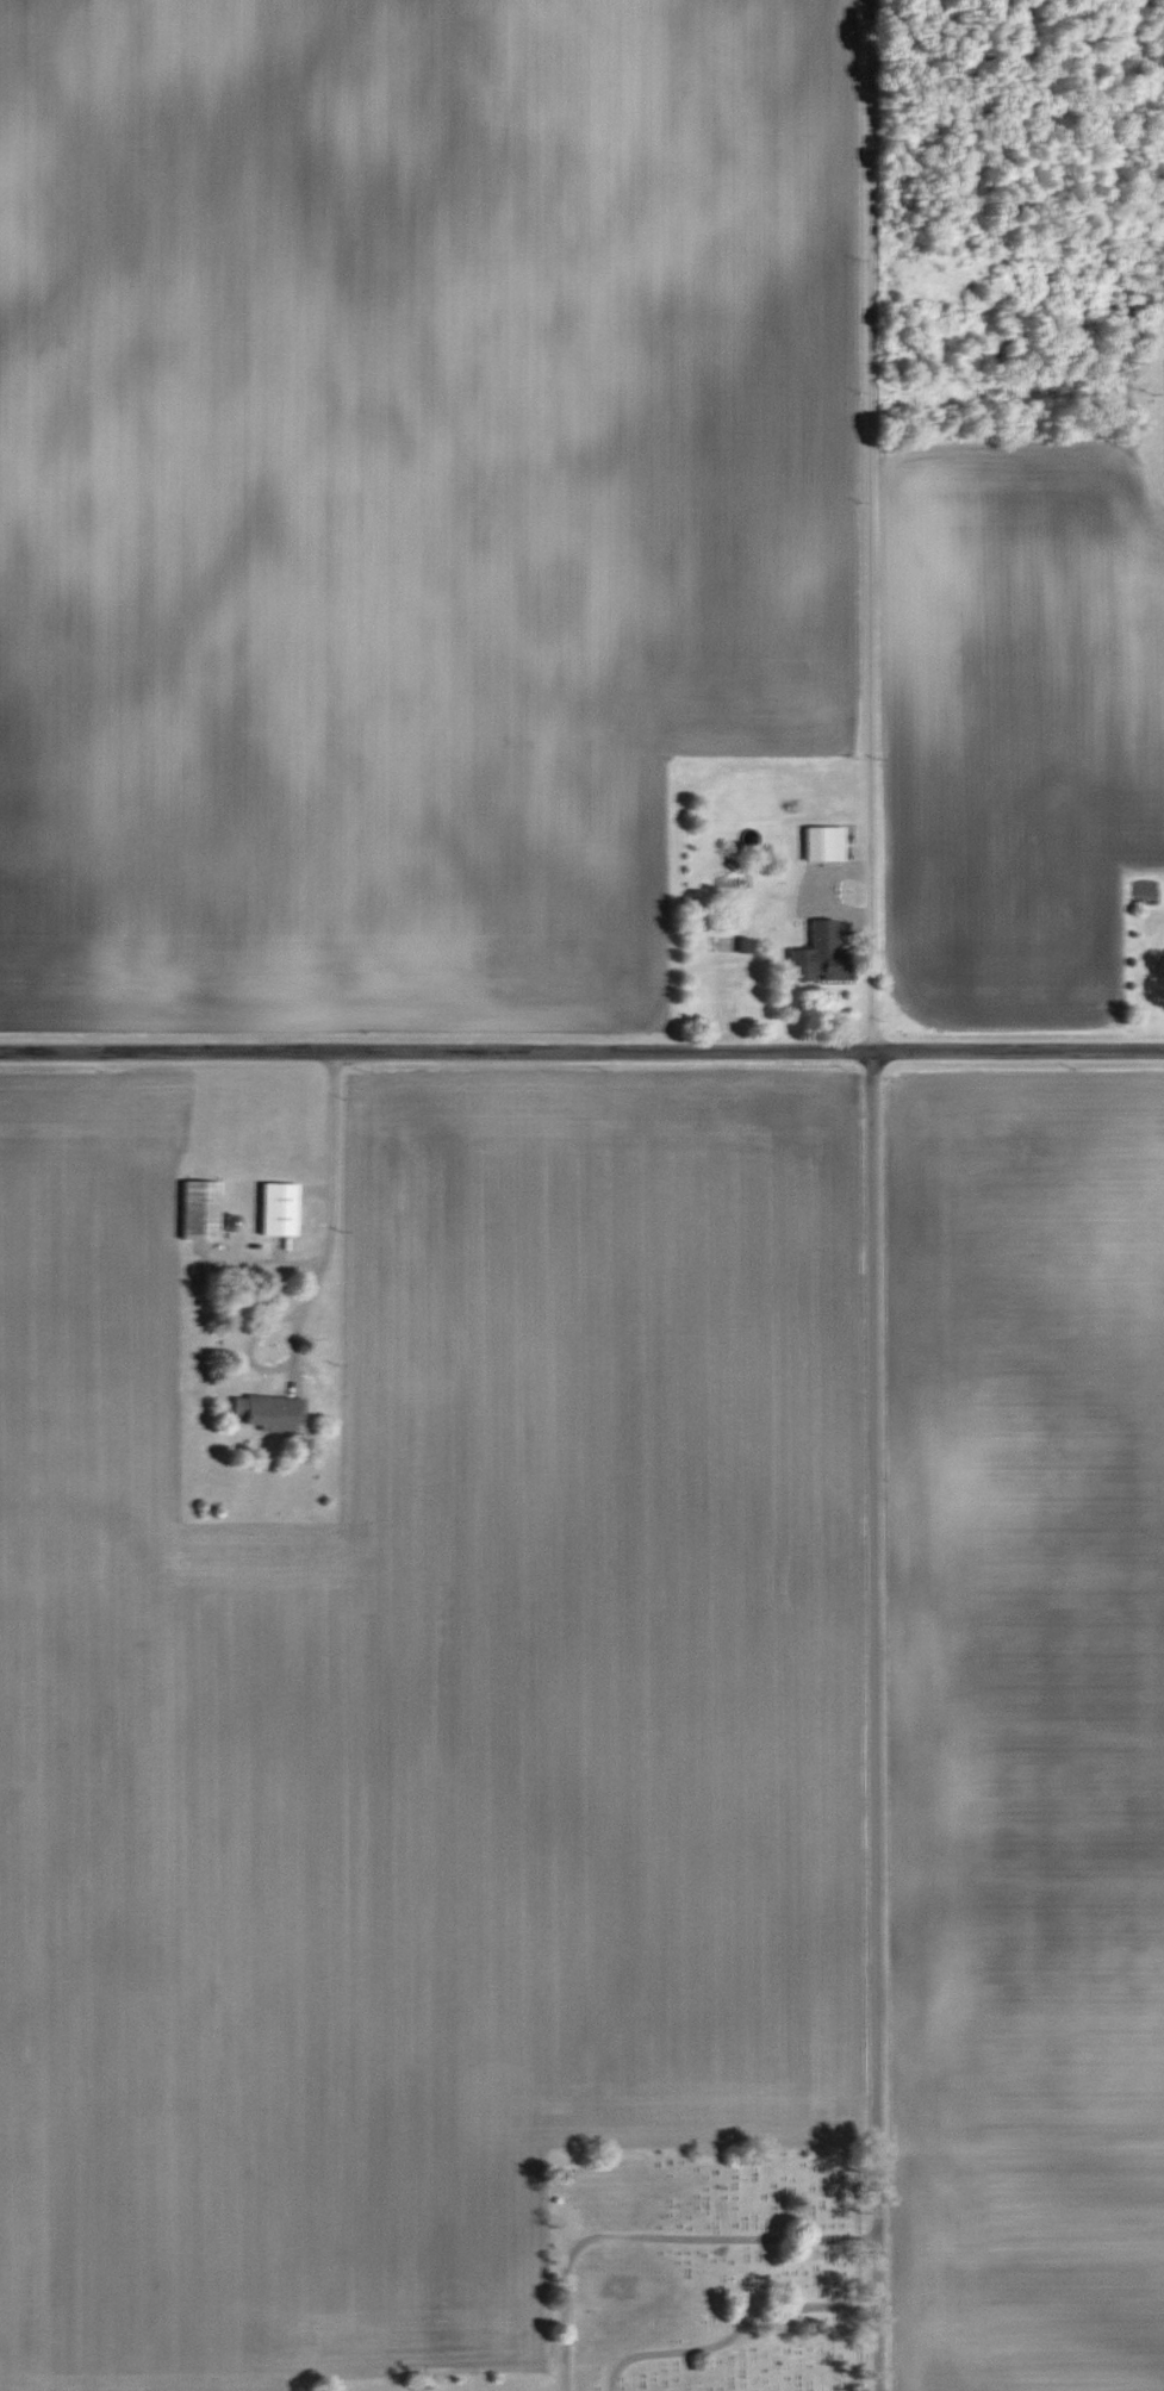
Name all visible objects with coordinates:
road: (872, 527)
building: (823, 842)
building: (821, 955)
road: (581, 1054)
building: (278, 1208)
road: (338, 1209)
building: (204, 1210)
building: (268, 1412)
road: (877, 1723)

